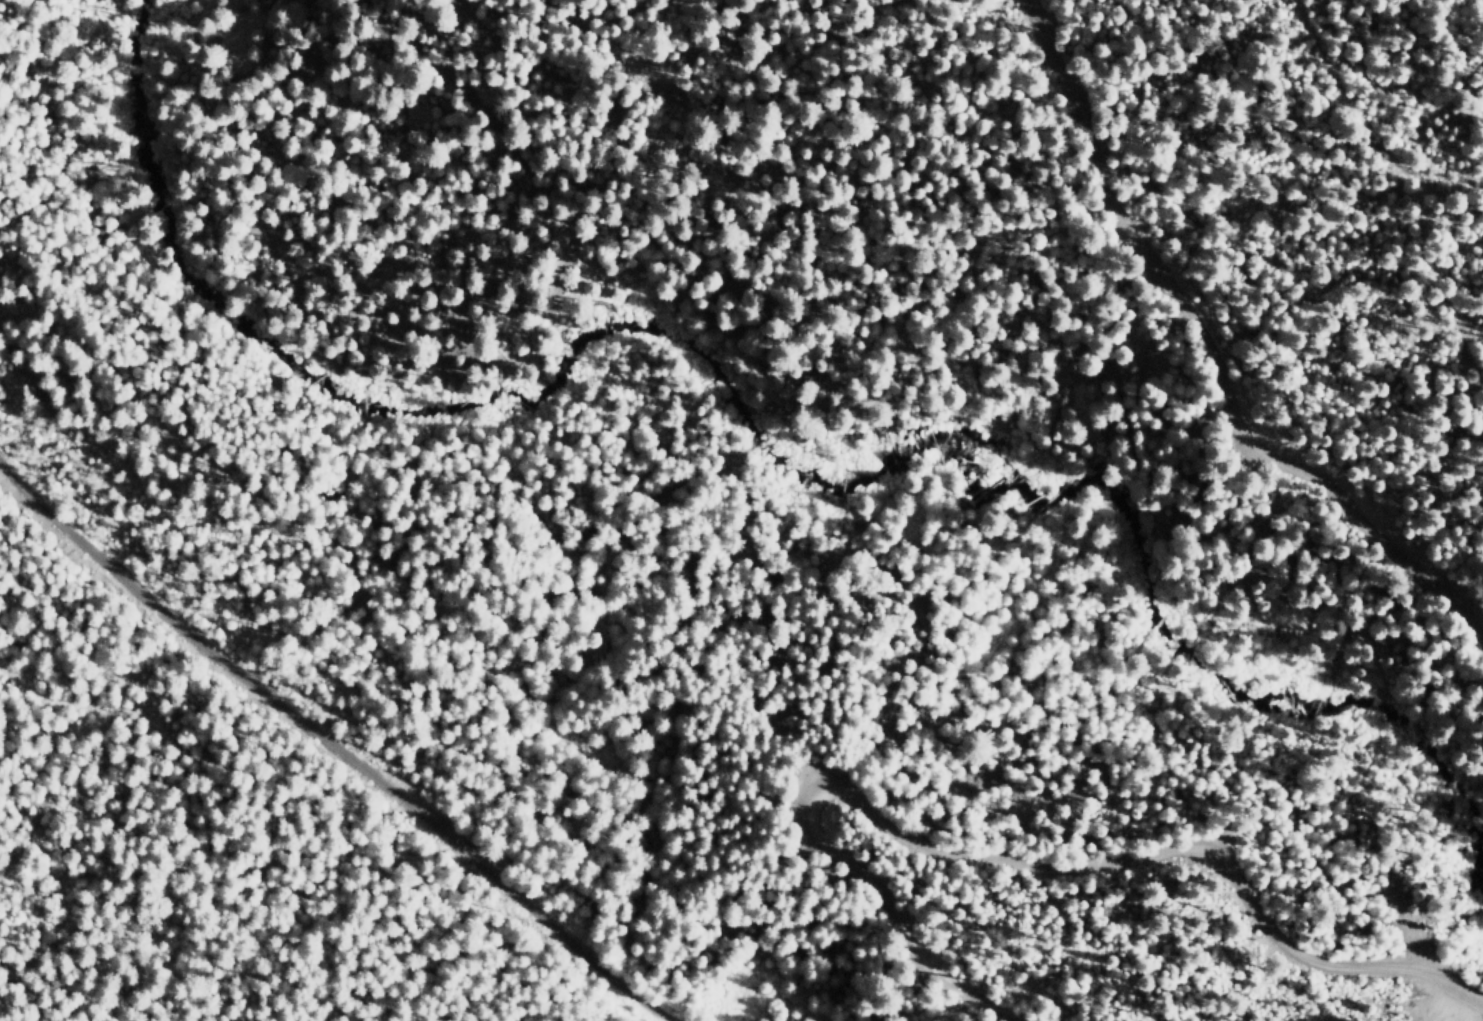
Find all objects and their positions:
road: (1322, 49)
road: (1207, 362)
road: (381, 744)
road: (1013, 858)

